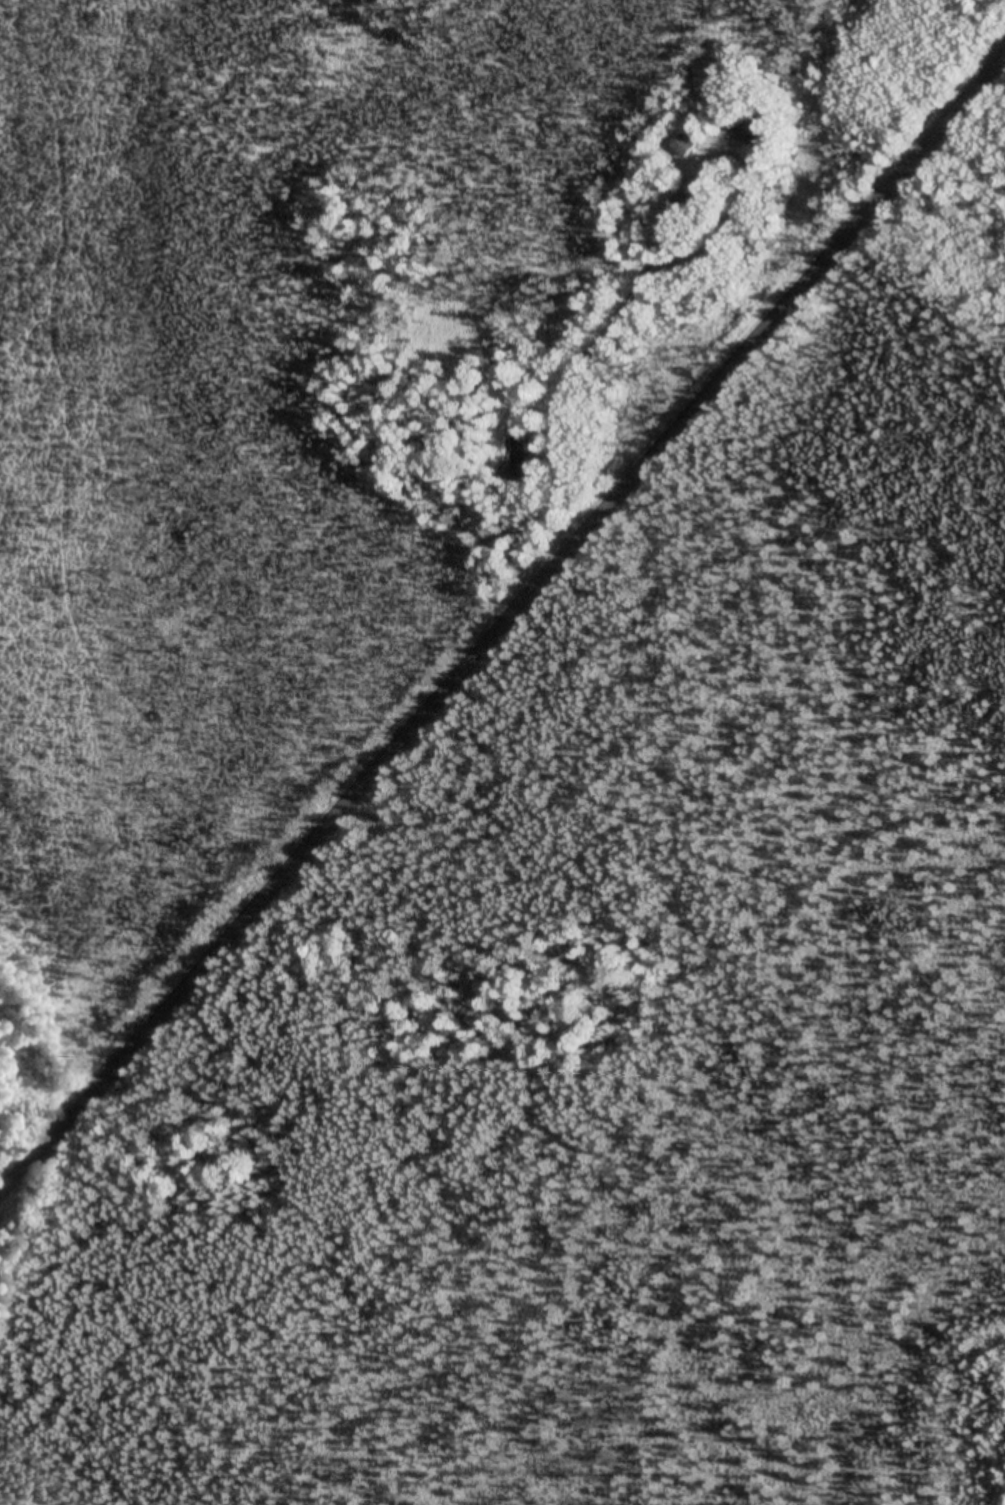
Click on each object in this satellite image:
building: (753, 130)
building: (683, 146)
road: (483, 588)

